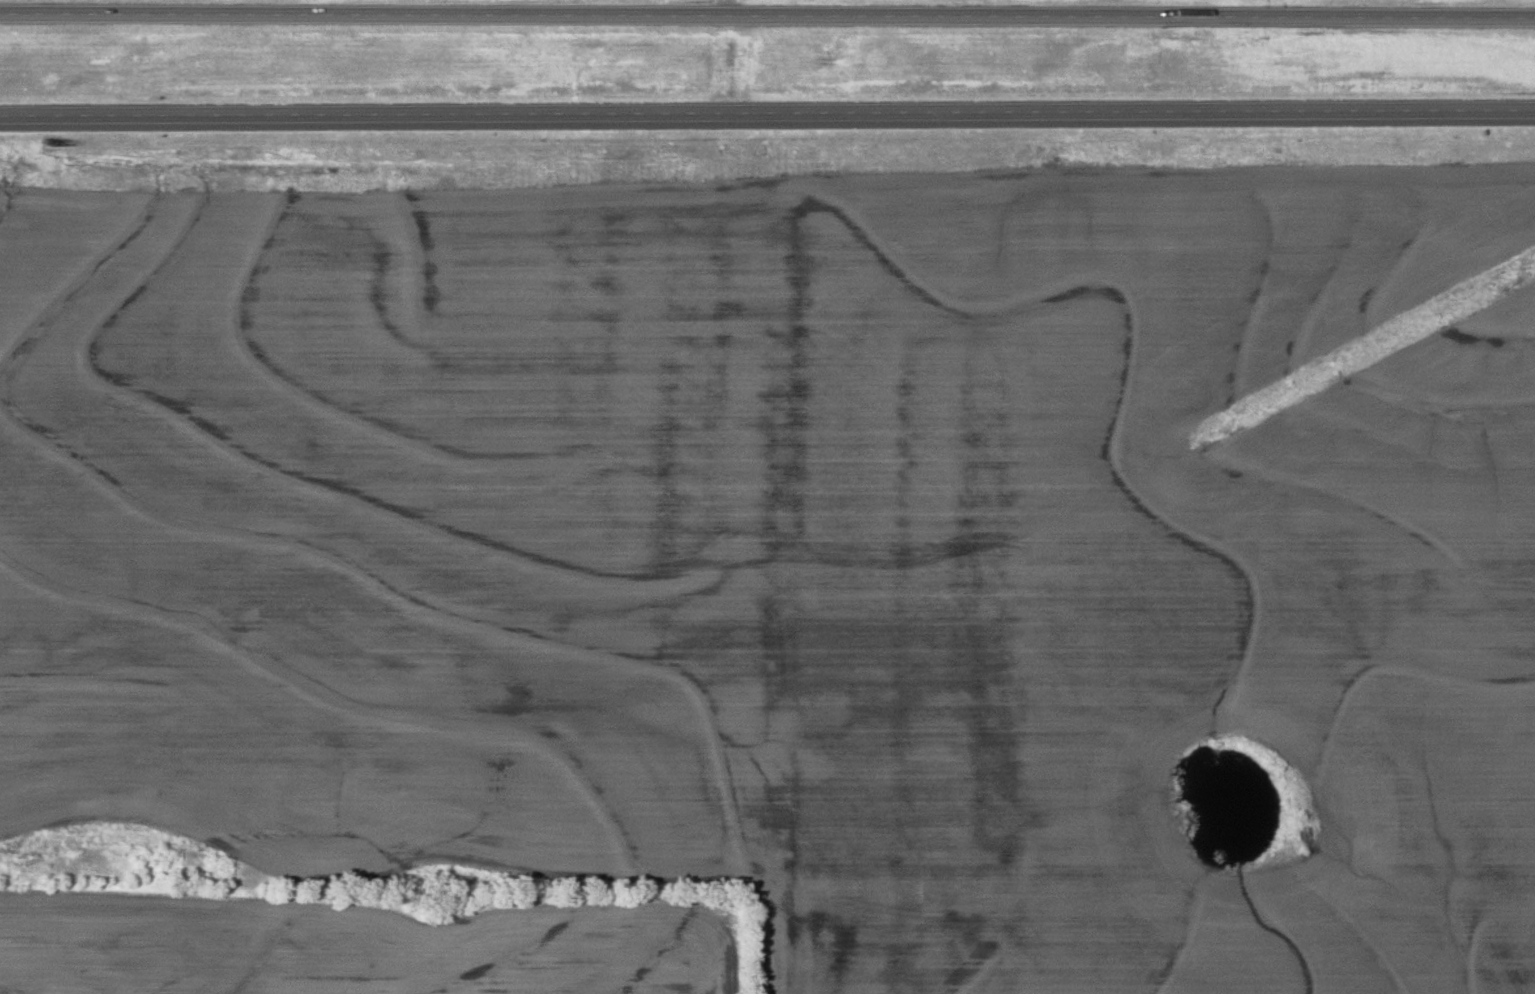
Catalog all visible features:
road: (767, 17)
road: (767, 113)

